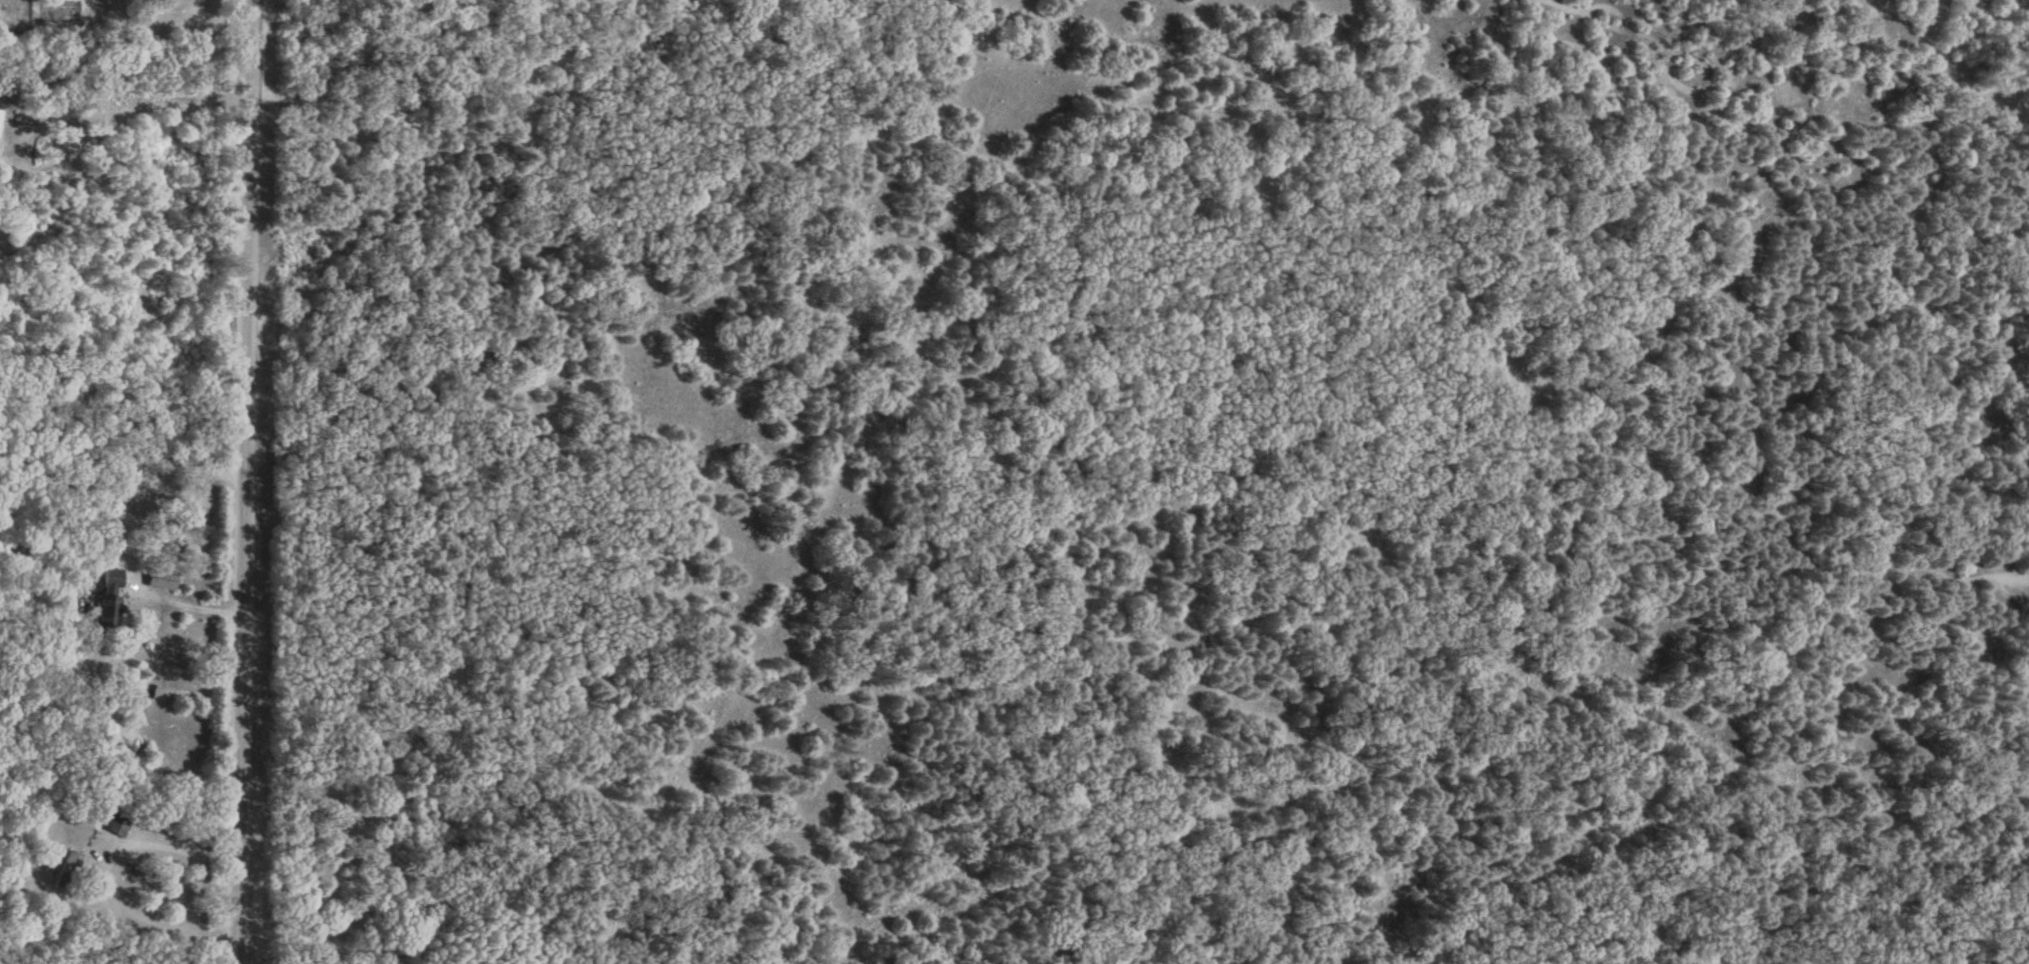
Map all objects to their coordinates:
road: (69, 111)
building: (0, 117)
road: (244, 482)
building: (118, 502)
building: (159, 582)
road: (183, 599)
building: (105, 604)
building: (99, 713)
building: (114, 825)
building: (70, 864)
road: (108, 871)

